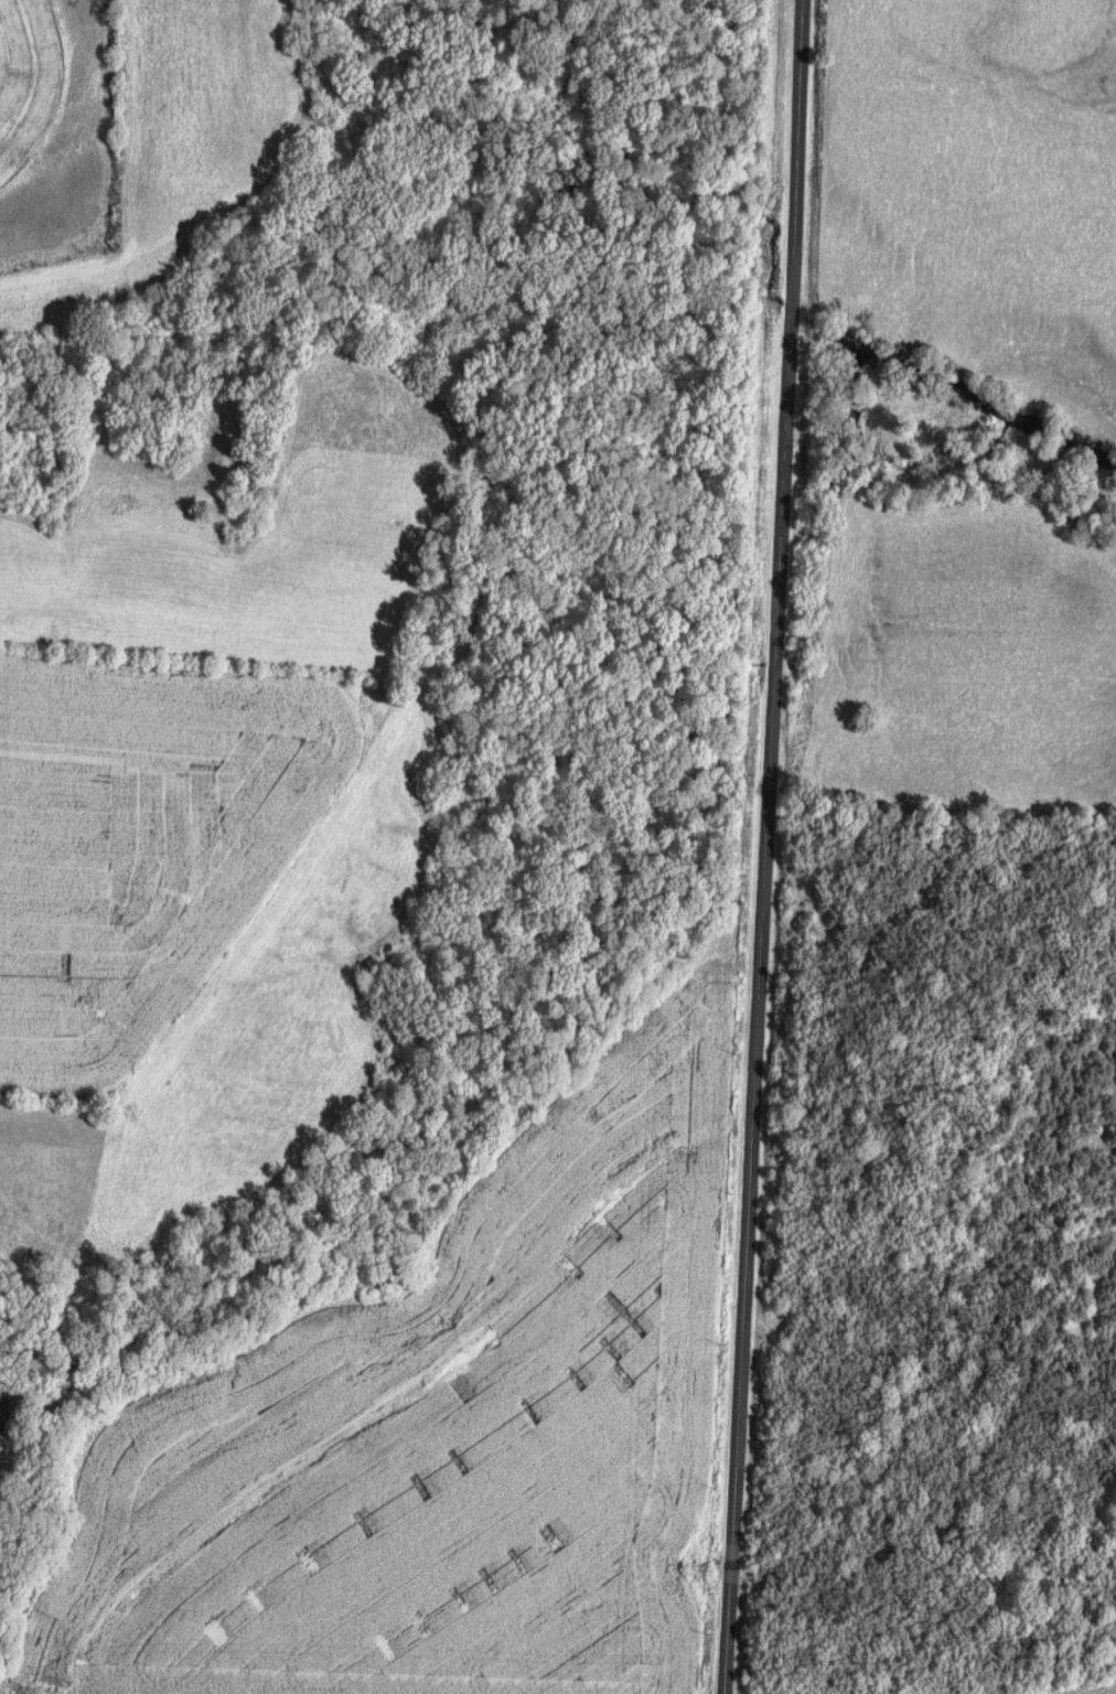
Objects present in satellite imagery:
road: (766, 847)

